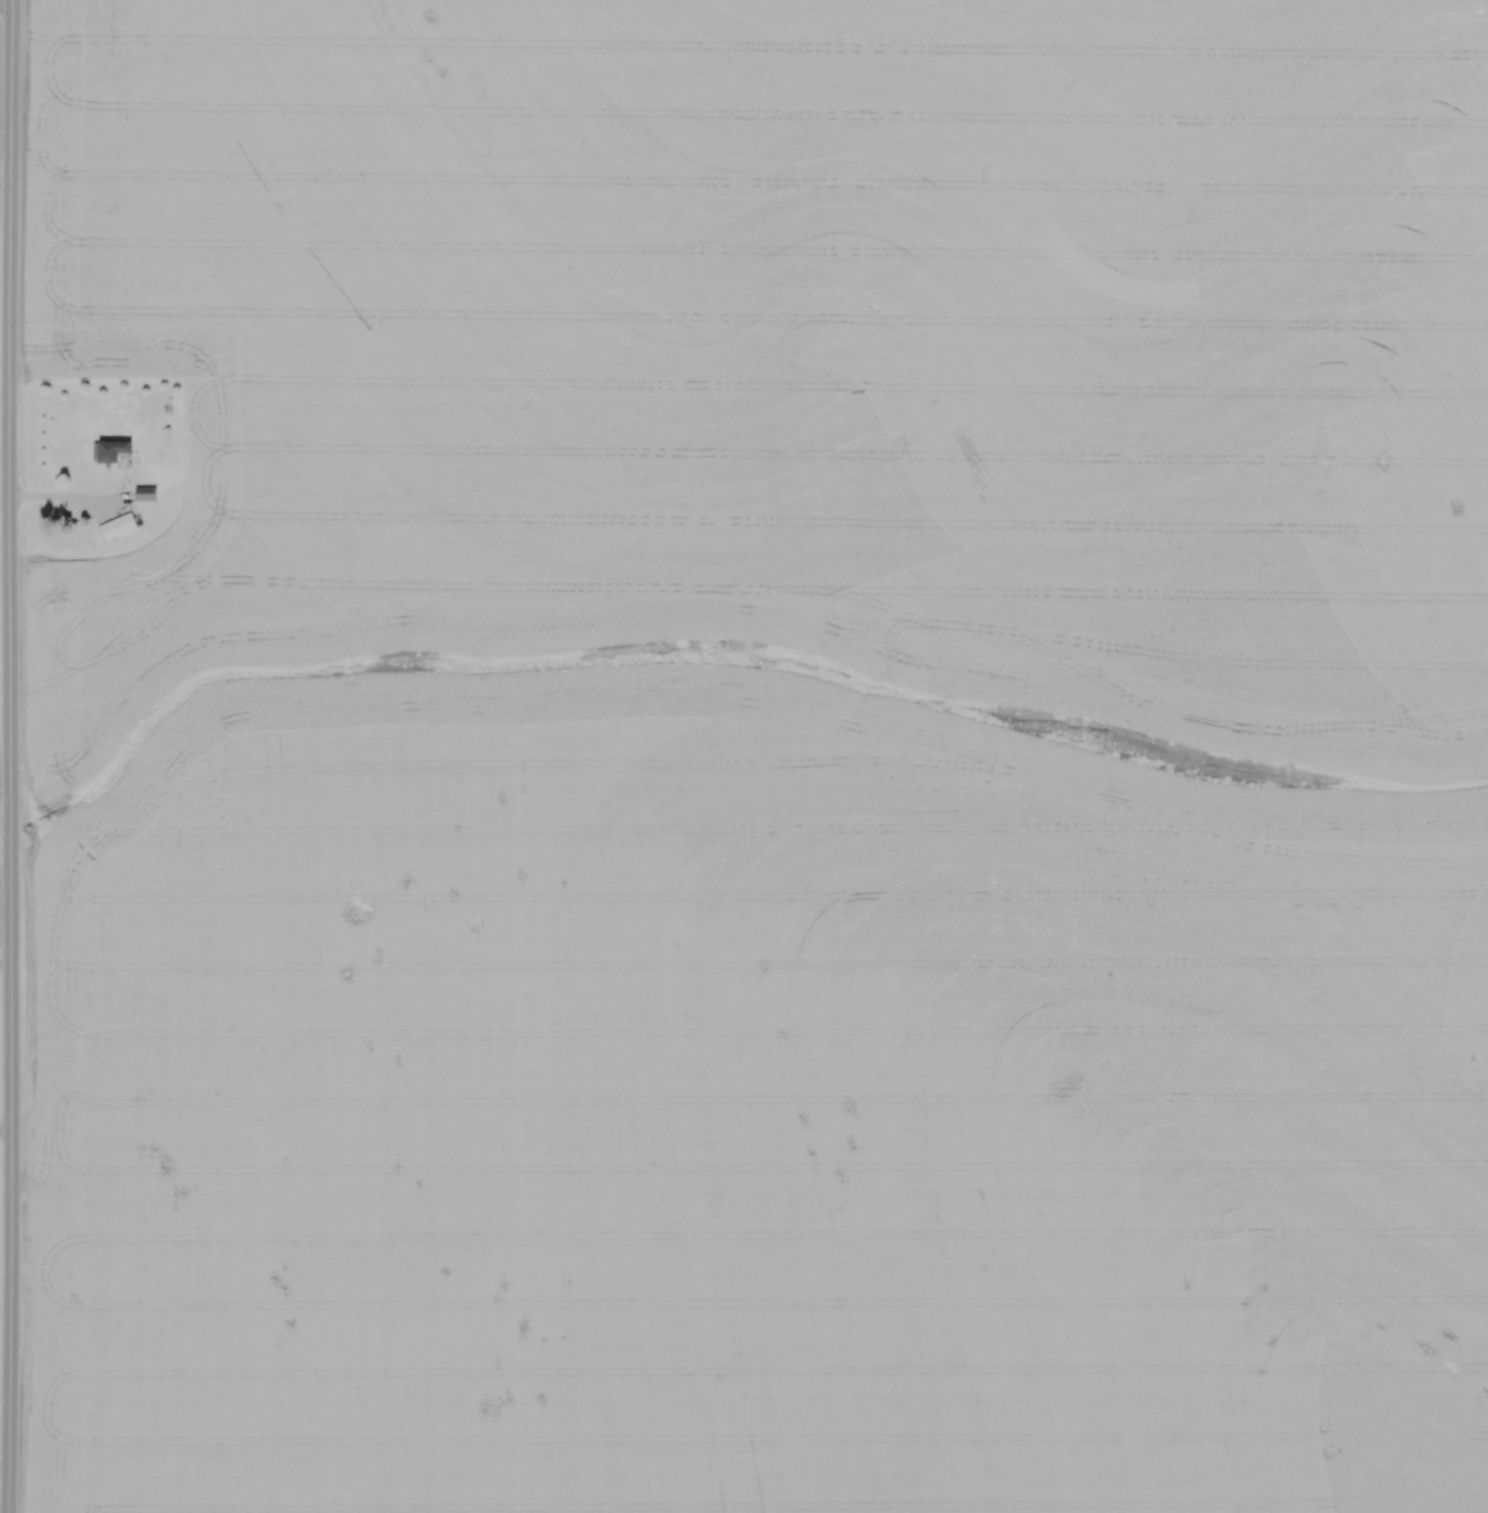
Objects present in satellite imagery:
building: (120, 454)
road: (66, 498)
building: (124, 529)
road: (9, 756)

